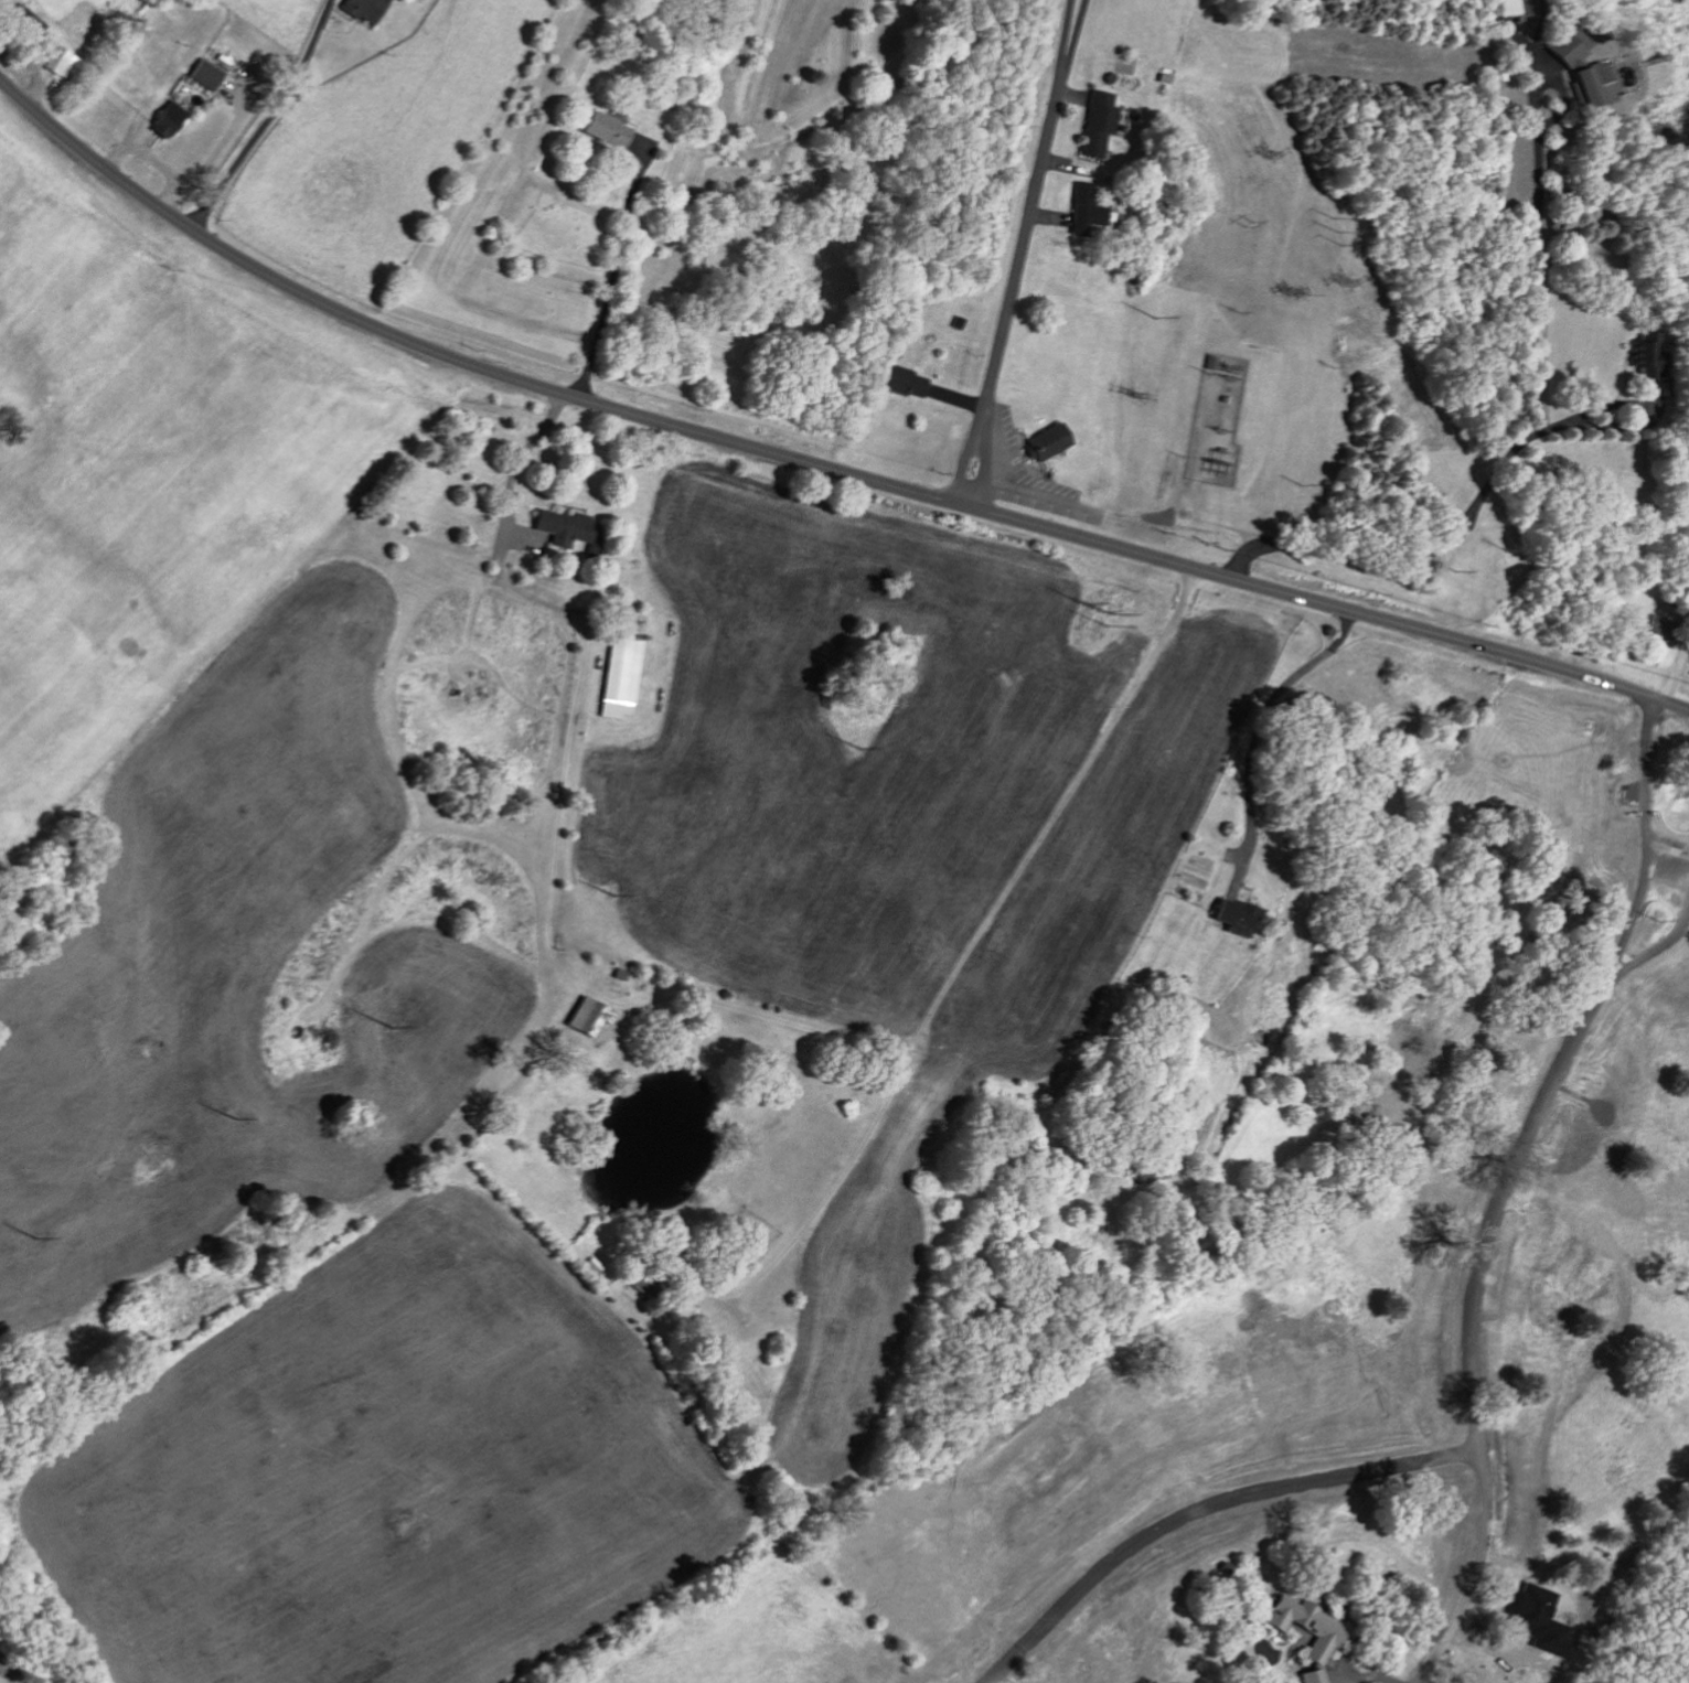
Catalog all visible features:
building: (365, 9)
building: (1569, 43)
building: (58, 57)
building: (206, 73)
building: (1594, 82)
building: (169, 118)
road: (266, 118)
building: (1099, 121)
building: (608, 128)
building: (1086, 207)
road: (1018, 251)
road: (612, 271)
building: (904, 379)
road: (1530, 415)
road: (990, 418)
power substation: (1218, 419)
building: (1049, 440)
road: (812, 464)
road: (1123, 515)
building: (567, 527)
building: (621, 675)
road: (1255, 730)
road: (559, 794)
road: (1643, 880)
building: (1239, 914)
building: (589, 1014)
road: (1498, 1193)
road: (1199, 1510)
road: (1476, 1571)
building: (1309, 1623)
building: (1315, 1675)

